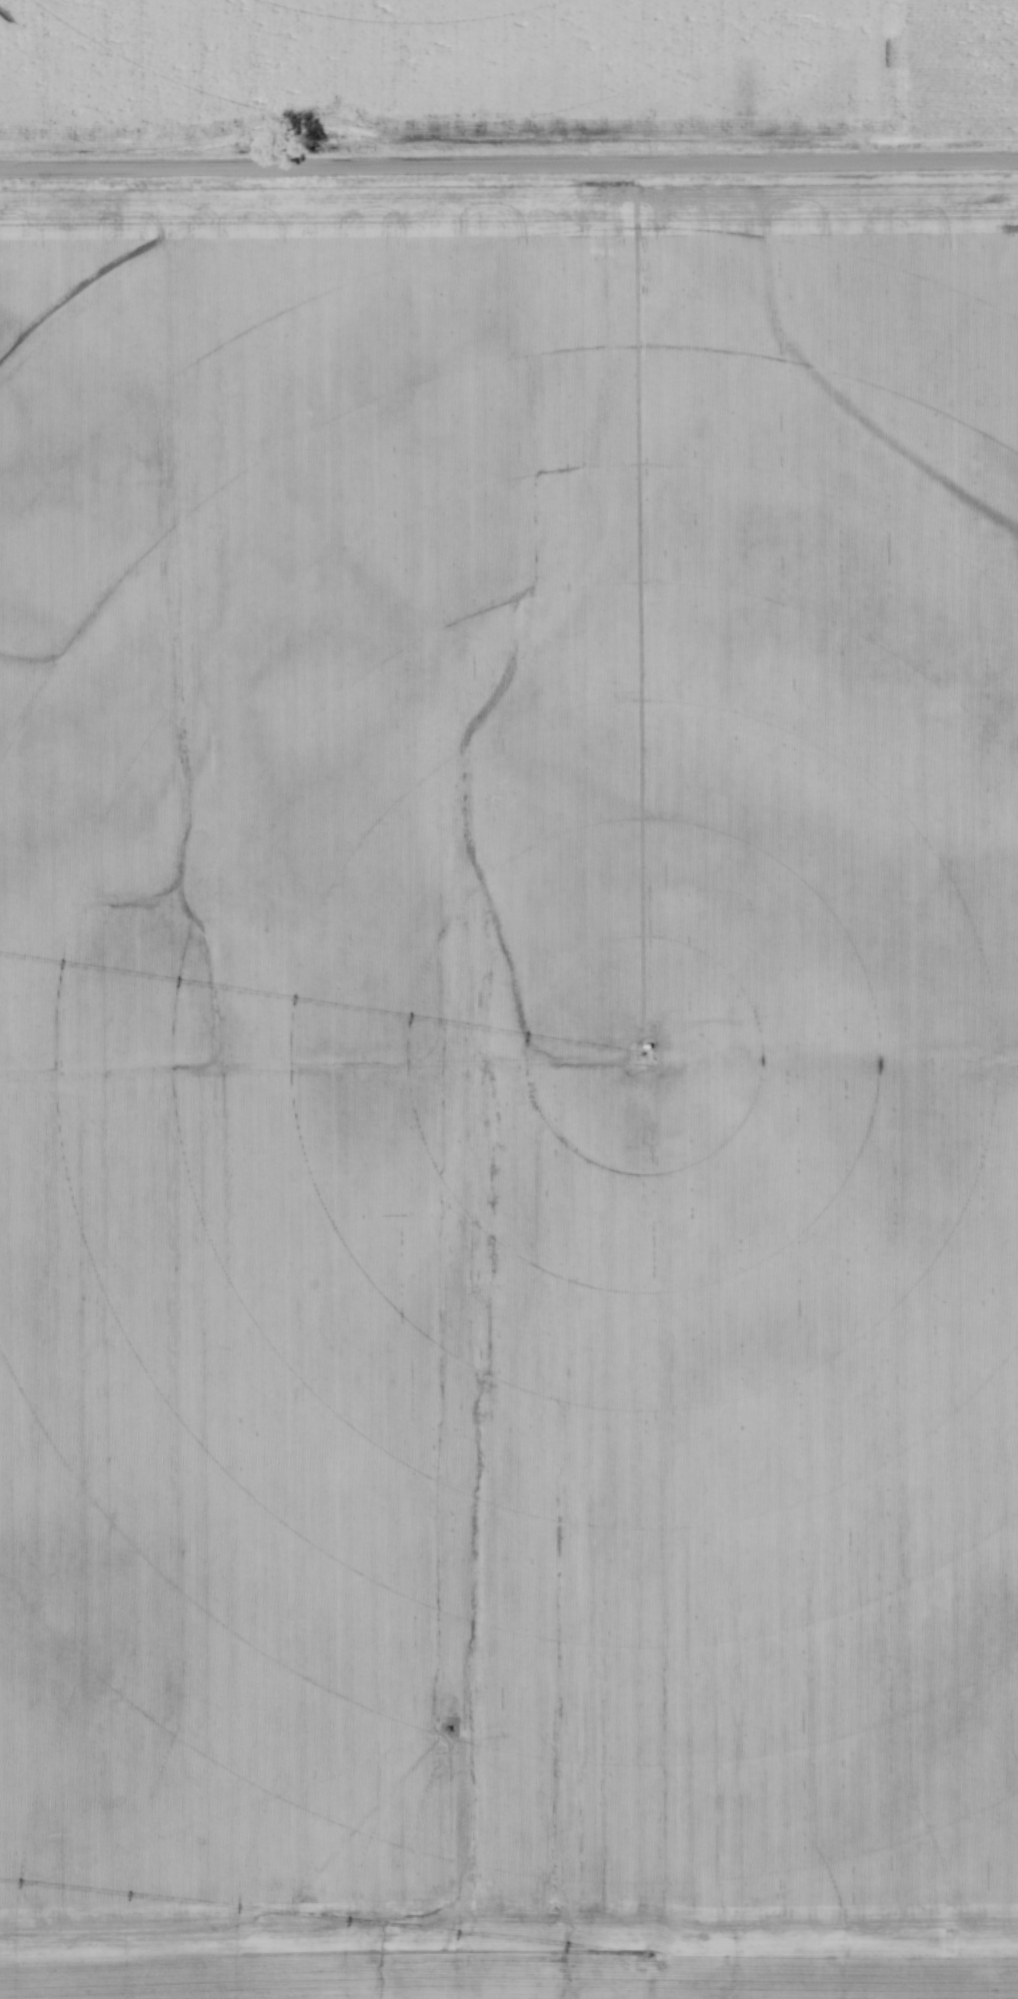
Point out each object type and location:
road: (509, 168)
road: (473, 1904)

